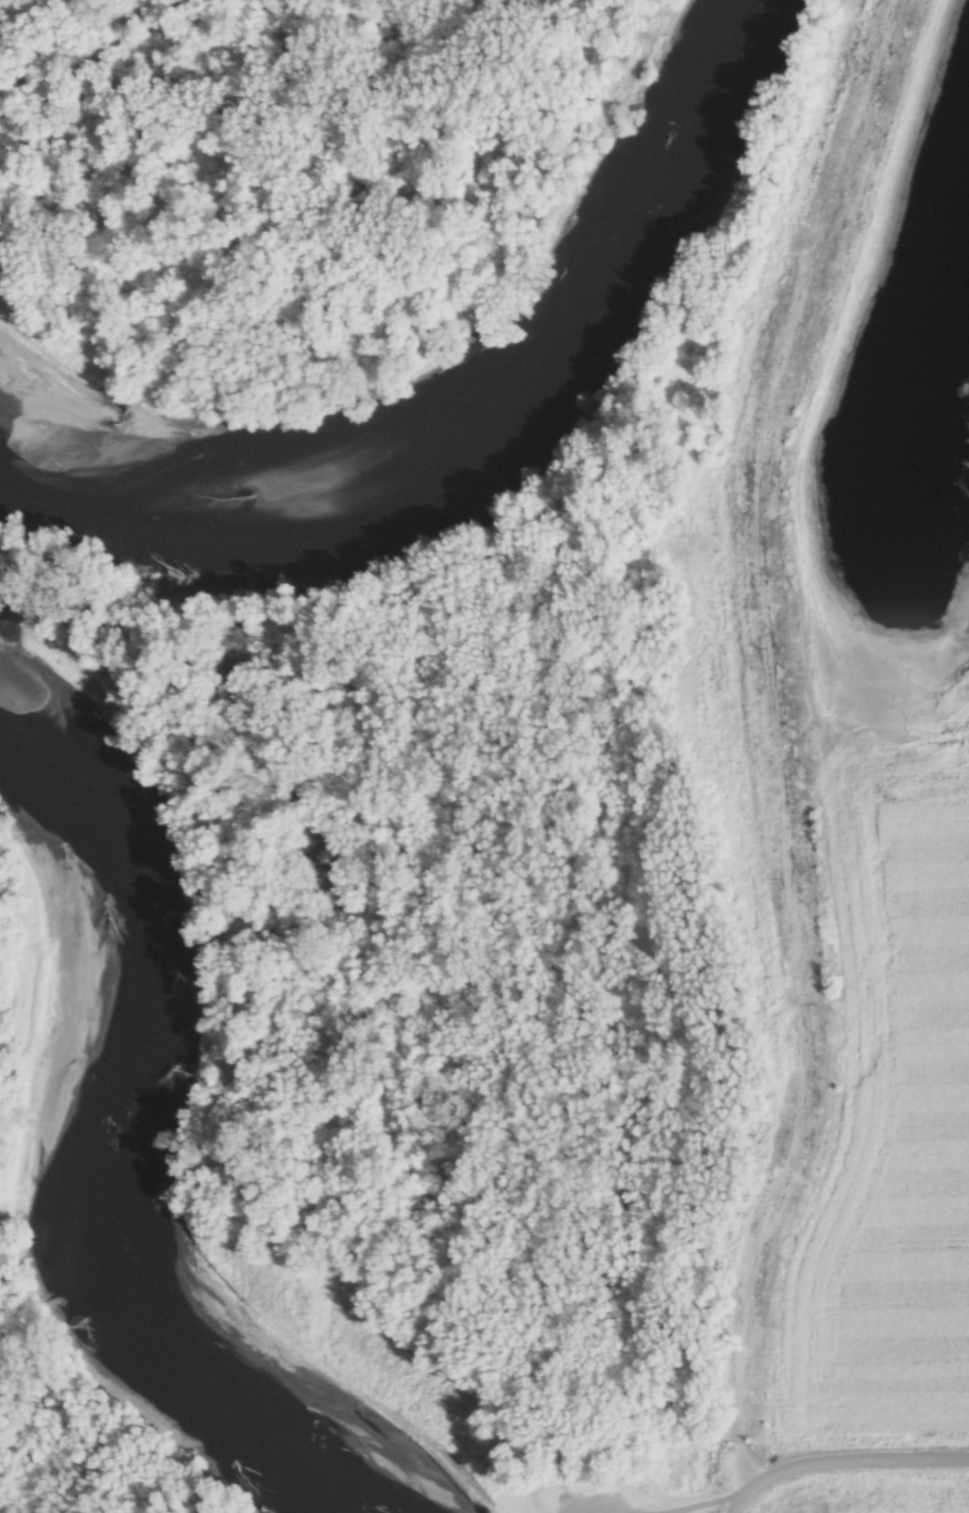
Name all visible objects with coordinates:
river: (468, 419)
river: (93, 1181)
road: (844, 1457)

